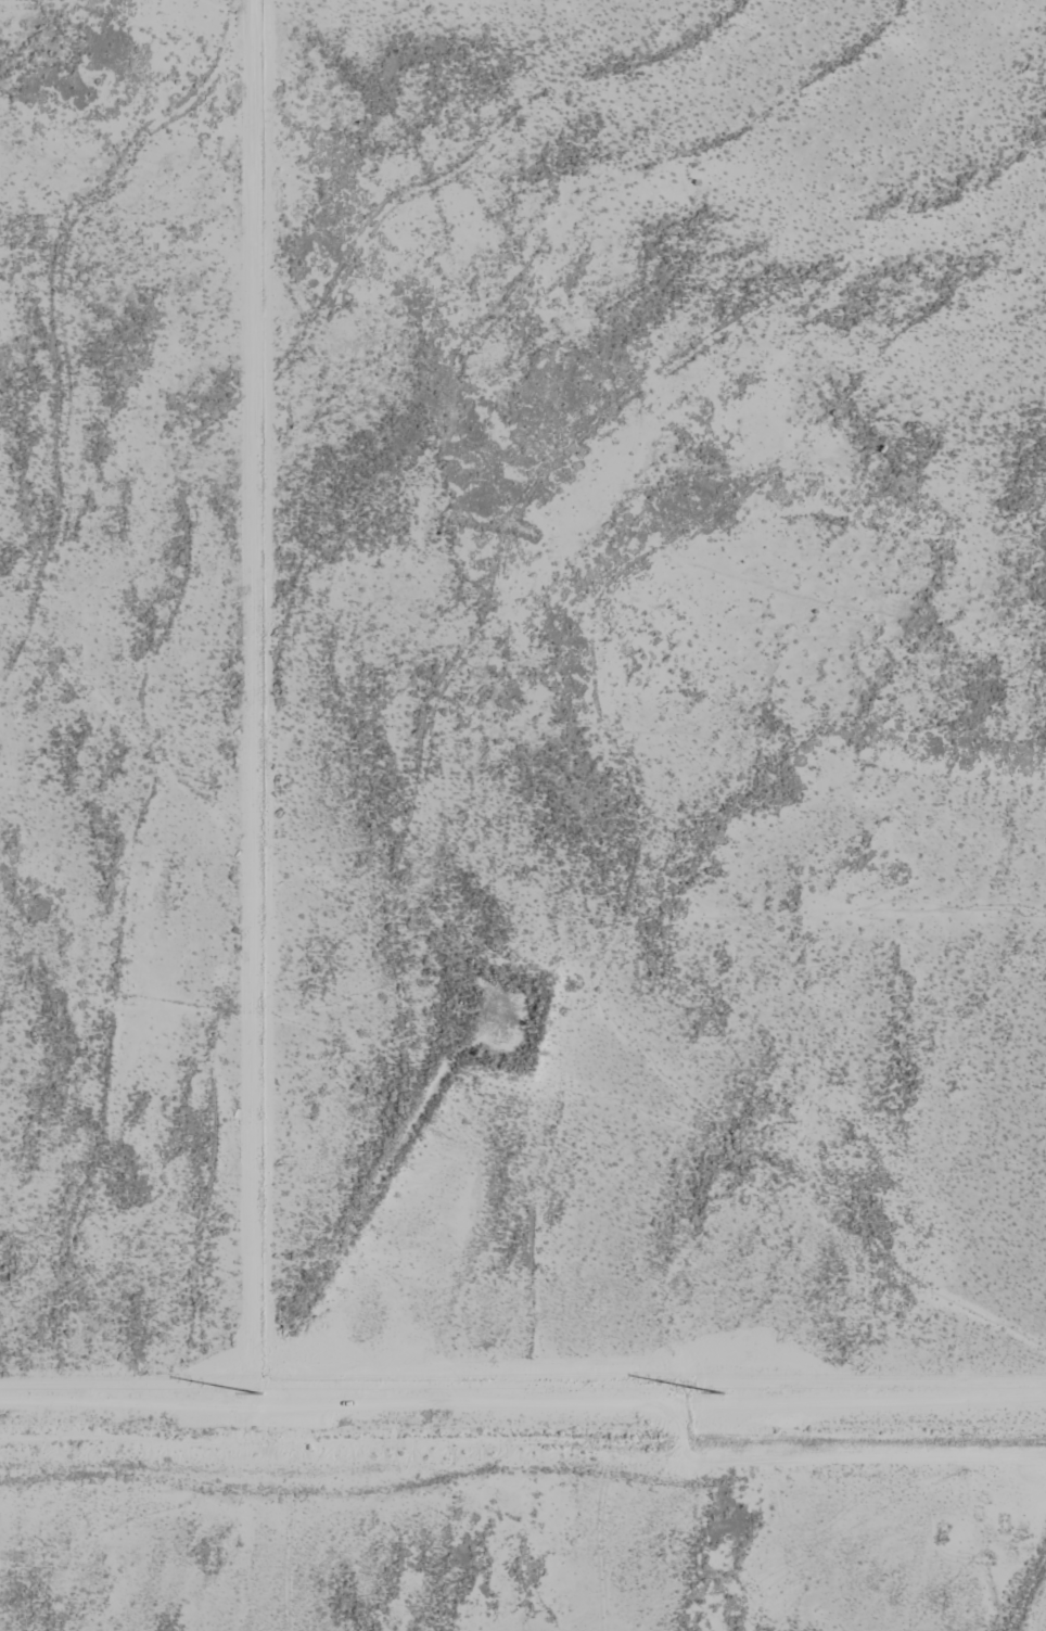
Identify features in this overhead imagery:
road: (1007, 1553)

